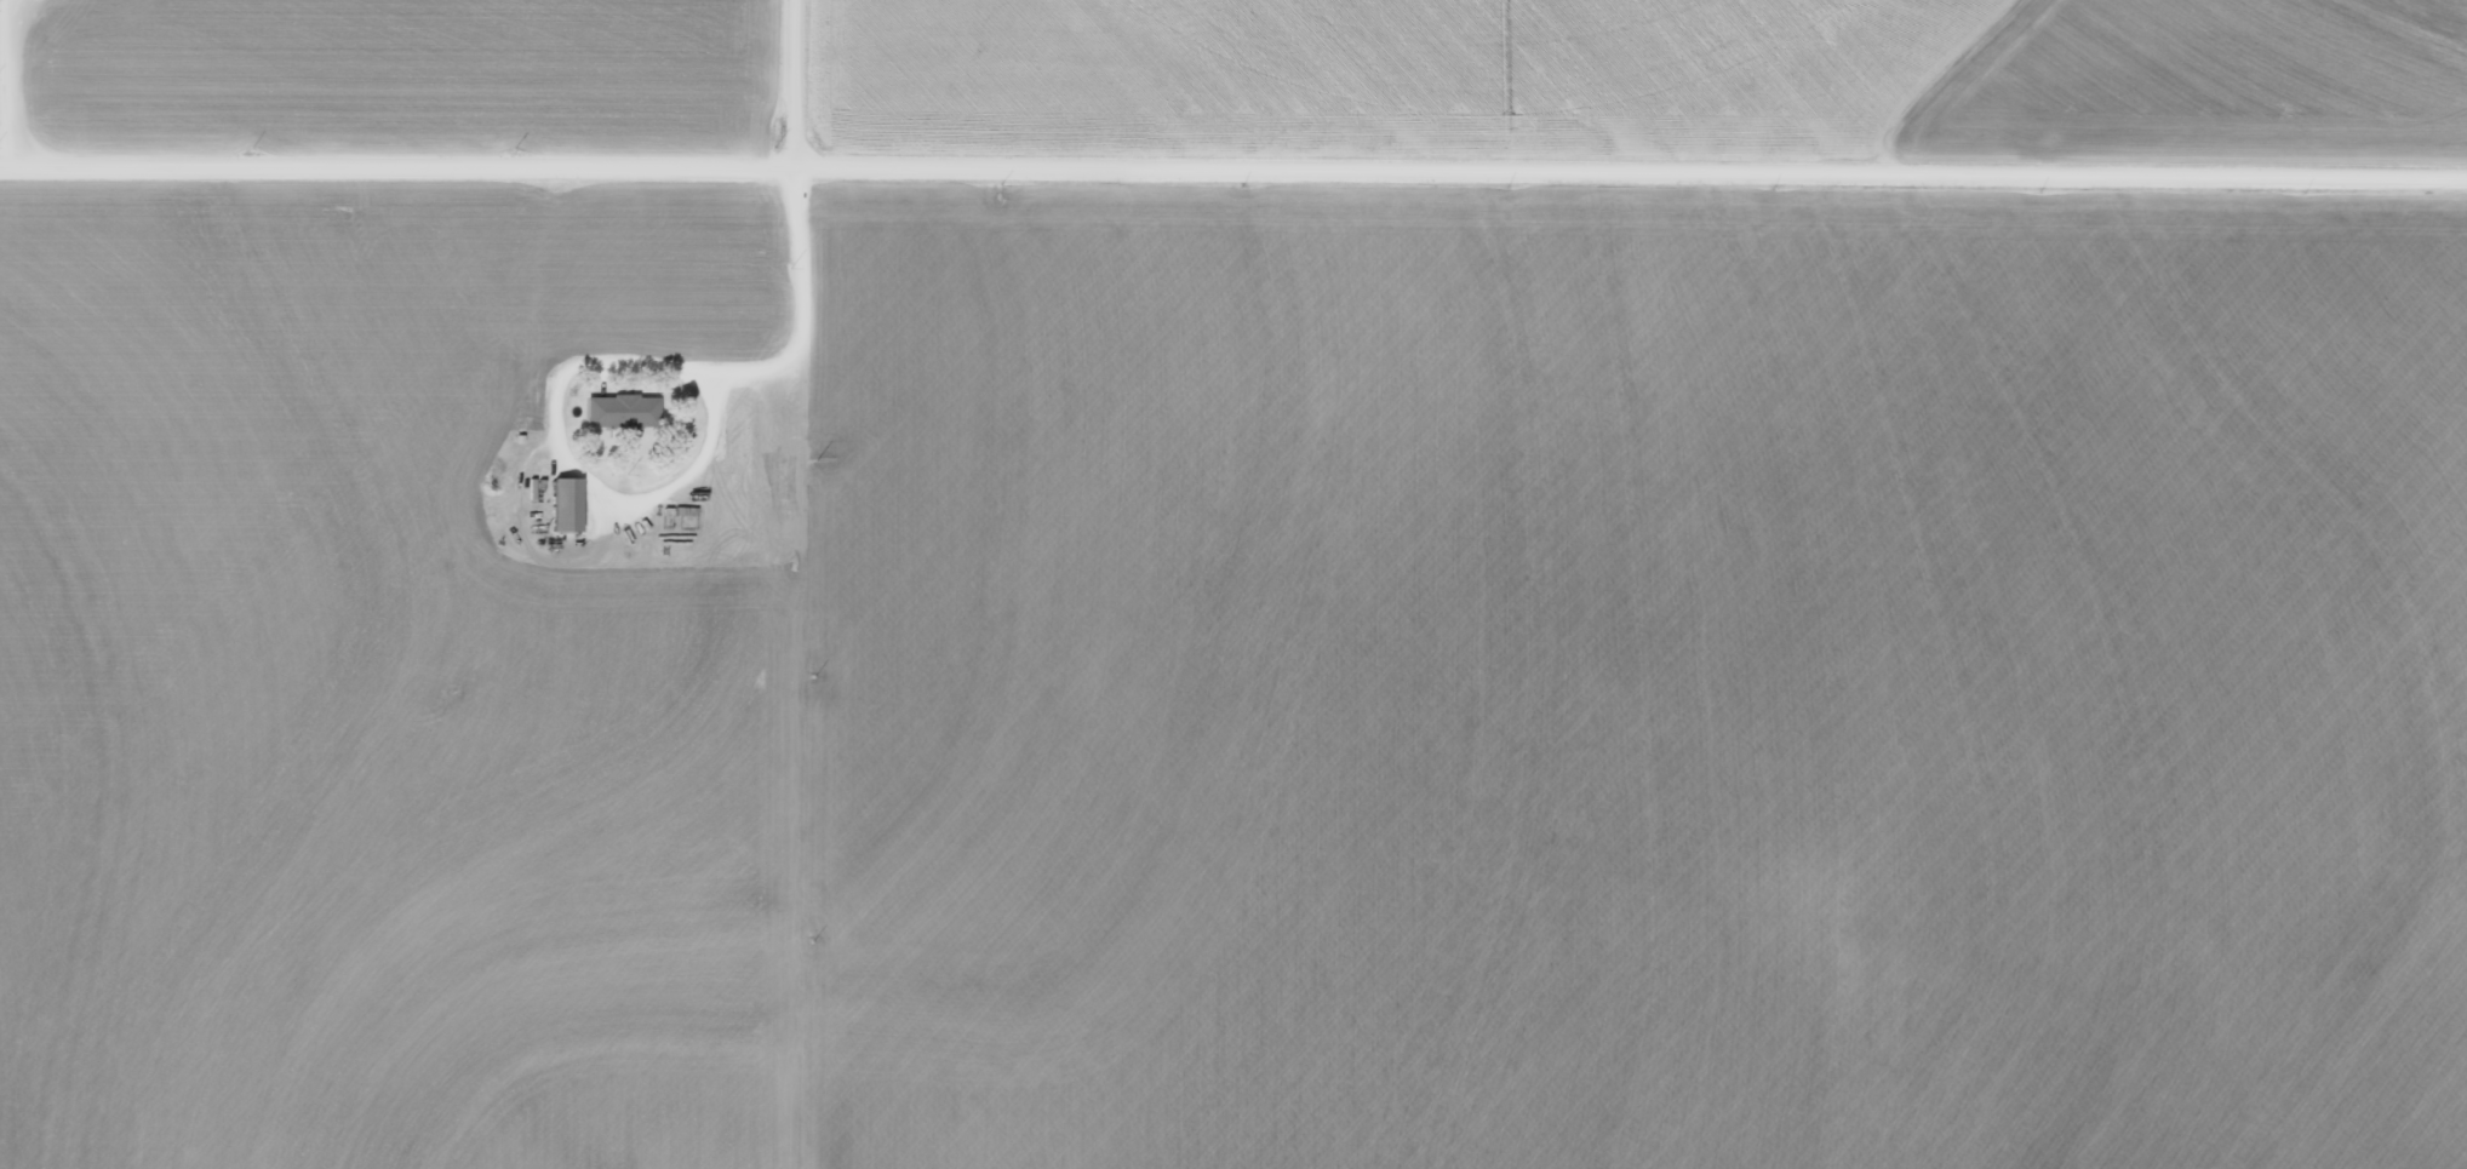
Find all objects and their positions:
road: (817, 84)
road: (1233, 170)
road: (796, 357)
building: (623, 411)

